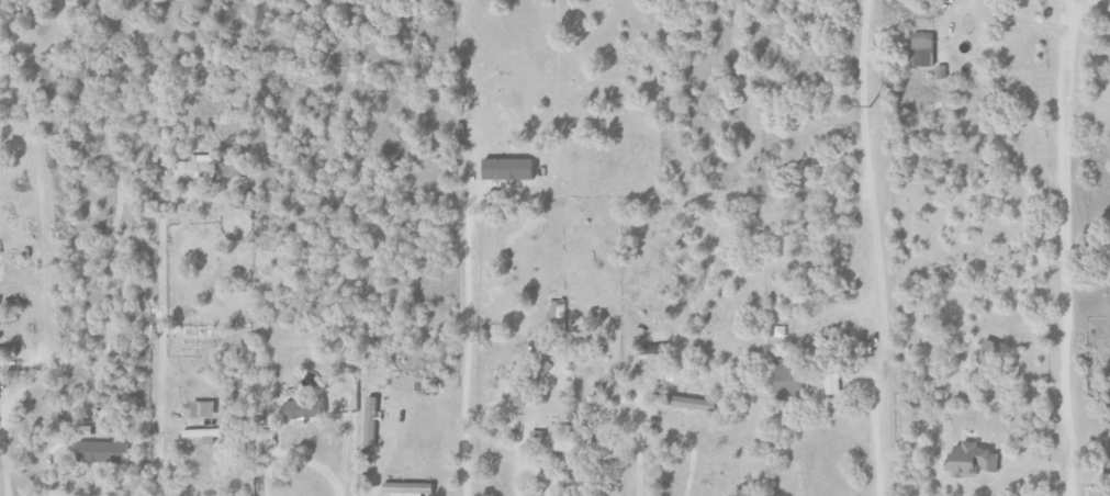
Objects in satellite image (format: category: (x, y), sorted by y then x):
road: (1020, 19)
building: (926, 49)
power tower: (870, 106)
building: (182, 169)
building: (236, 169)
building: (512, 169)
road: (1066, 248)
building: (556, 315)
road: (466, 331)
building: (990, 352)
building: (8, 354)
road: (883, 360)
building: (791, 375)
building: (832, 382)
building: (524, 396)
building: (691, 403)
building: (209, 409)
building: (307, 409)
building: (372, 421)
road: (657, 426)
building: (205, 435)
building: (564, 439)
road: (3, 450)
building: (104, 452)
building: (1106, 459)
building: (971, 461)
road: (307, 463)
road: (374, 466)
road: (159, 470)
building: (1094, 473)
road: (266, 477)
road: (52, 480)
building: (410, 488)
road: (531, 493)

